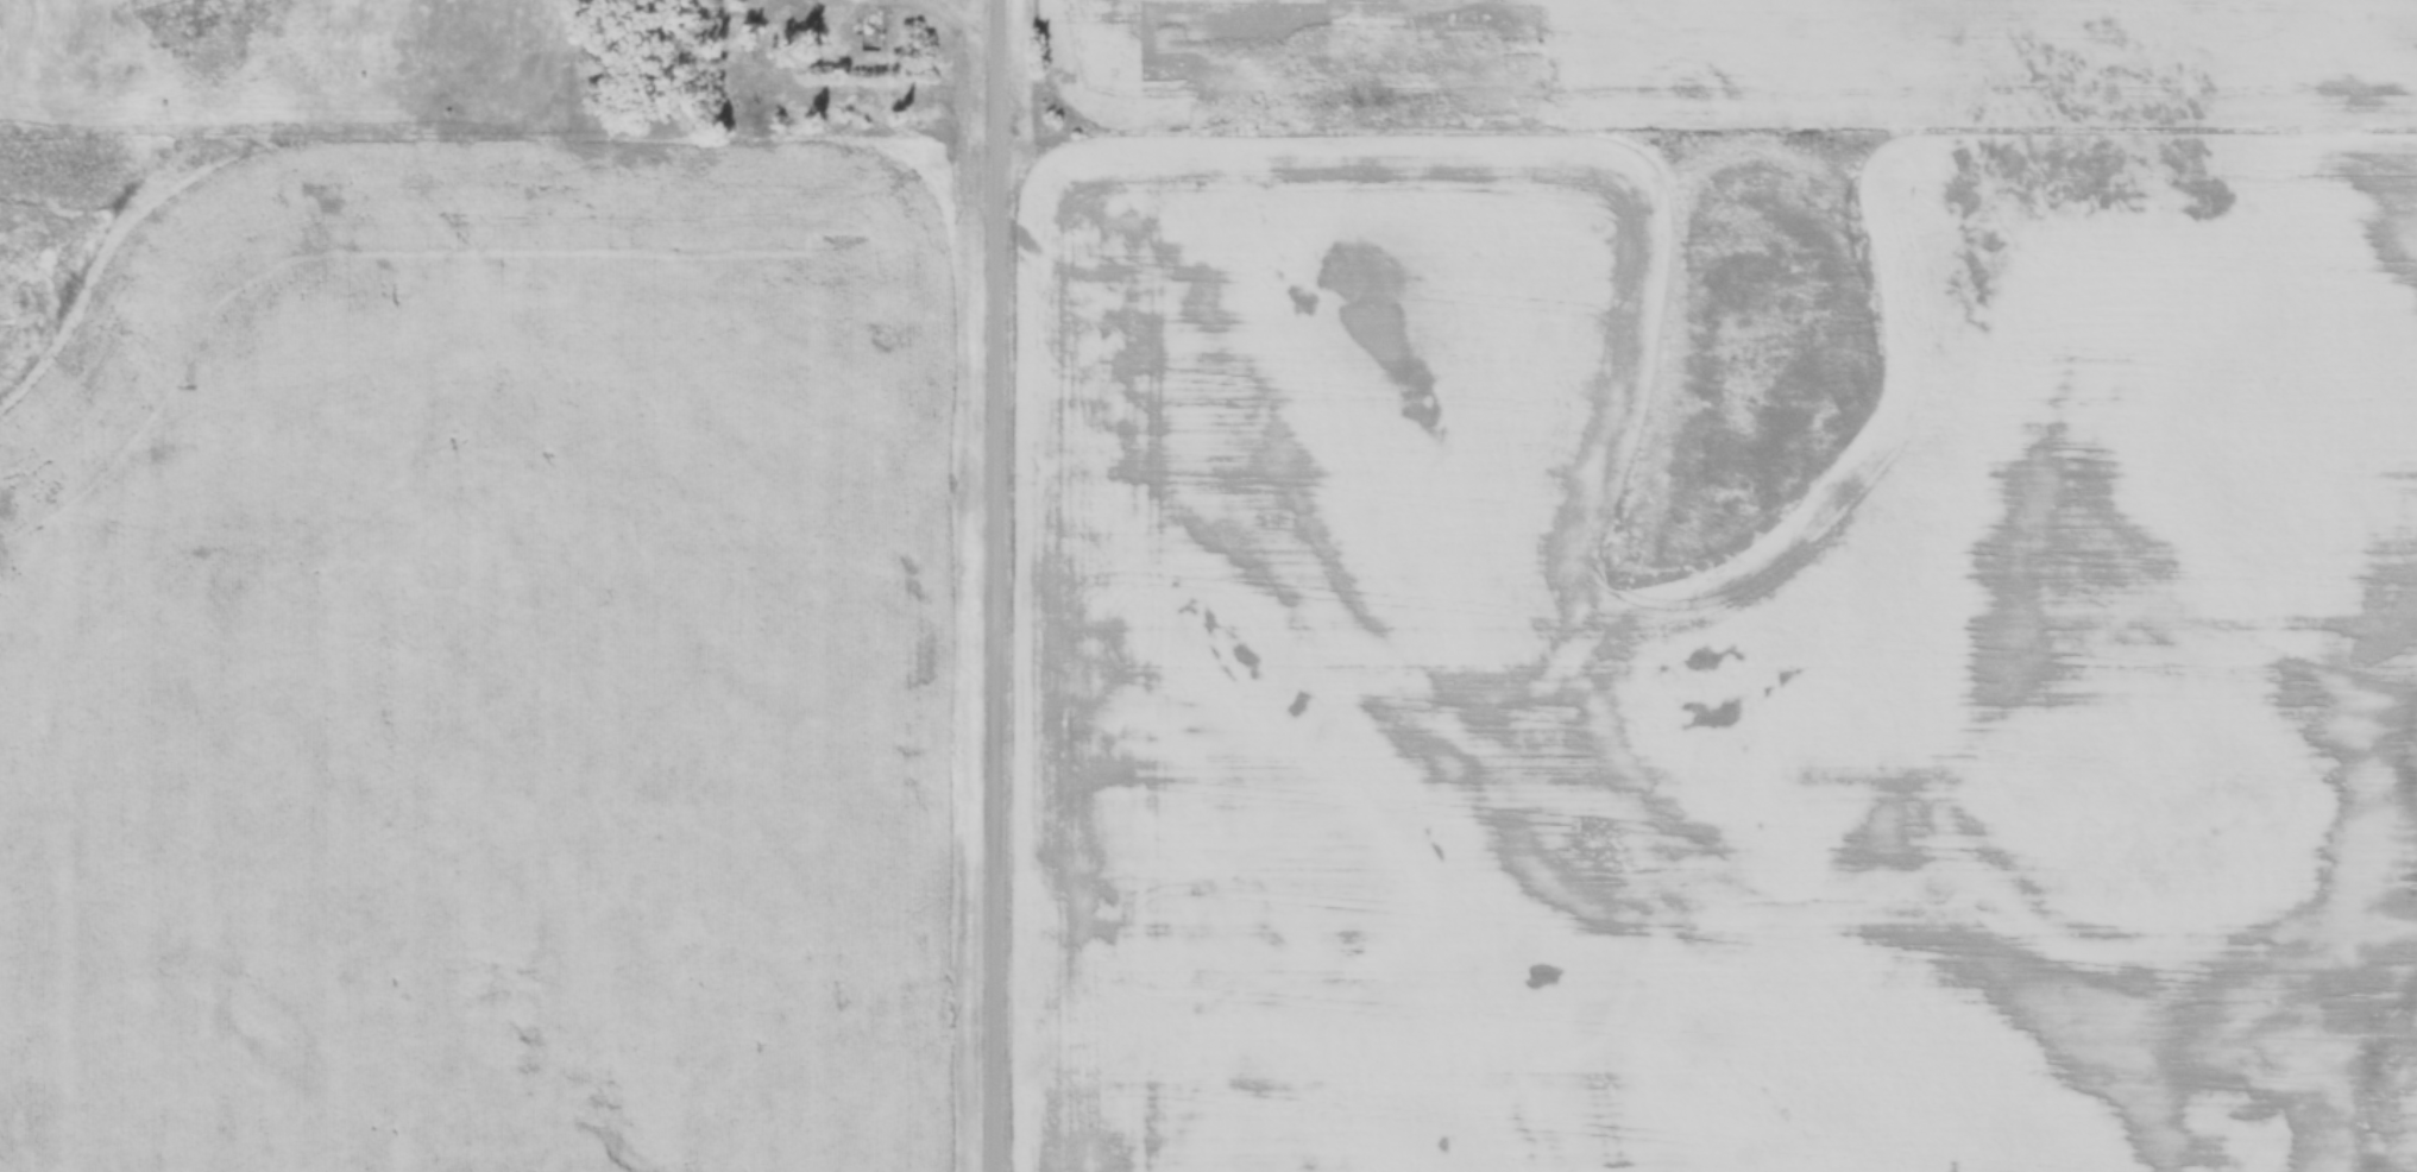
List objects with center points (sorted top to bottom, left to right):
building: (871, 29)
road: (996, 586)

